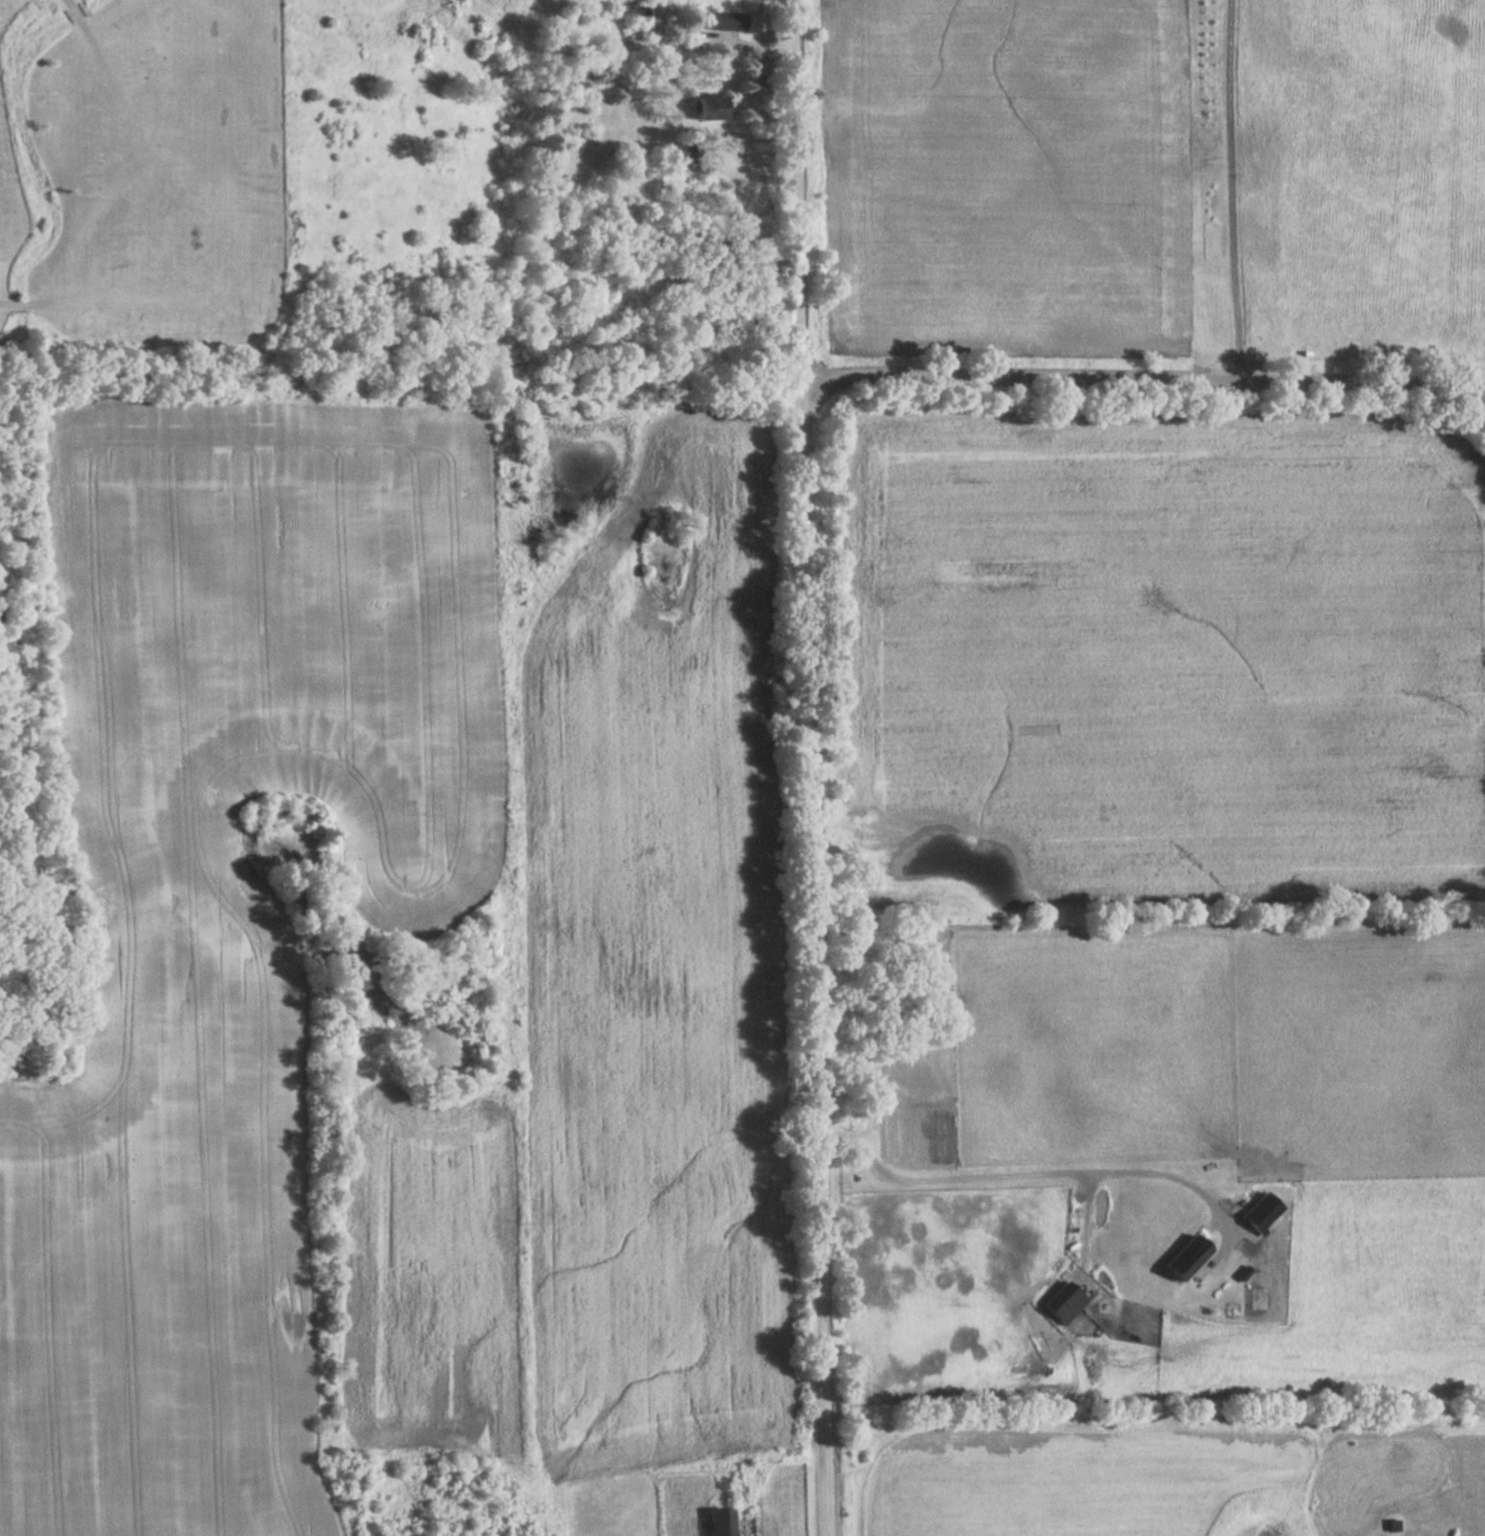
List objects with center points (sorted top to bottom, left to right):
building: (728, 21)
building: (710, 107)
building: (668, 182)
road: (1231, 188)
road: (1142, 374)
road: (811, 768)
road: (1034, 1167)
building: (1188, 1257)
building: (1065, 1303)
building: (730, 1522)

